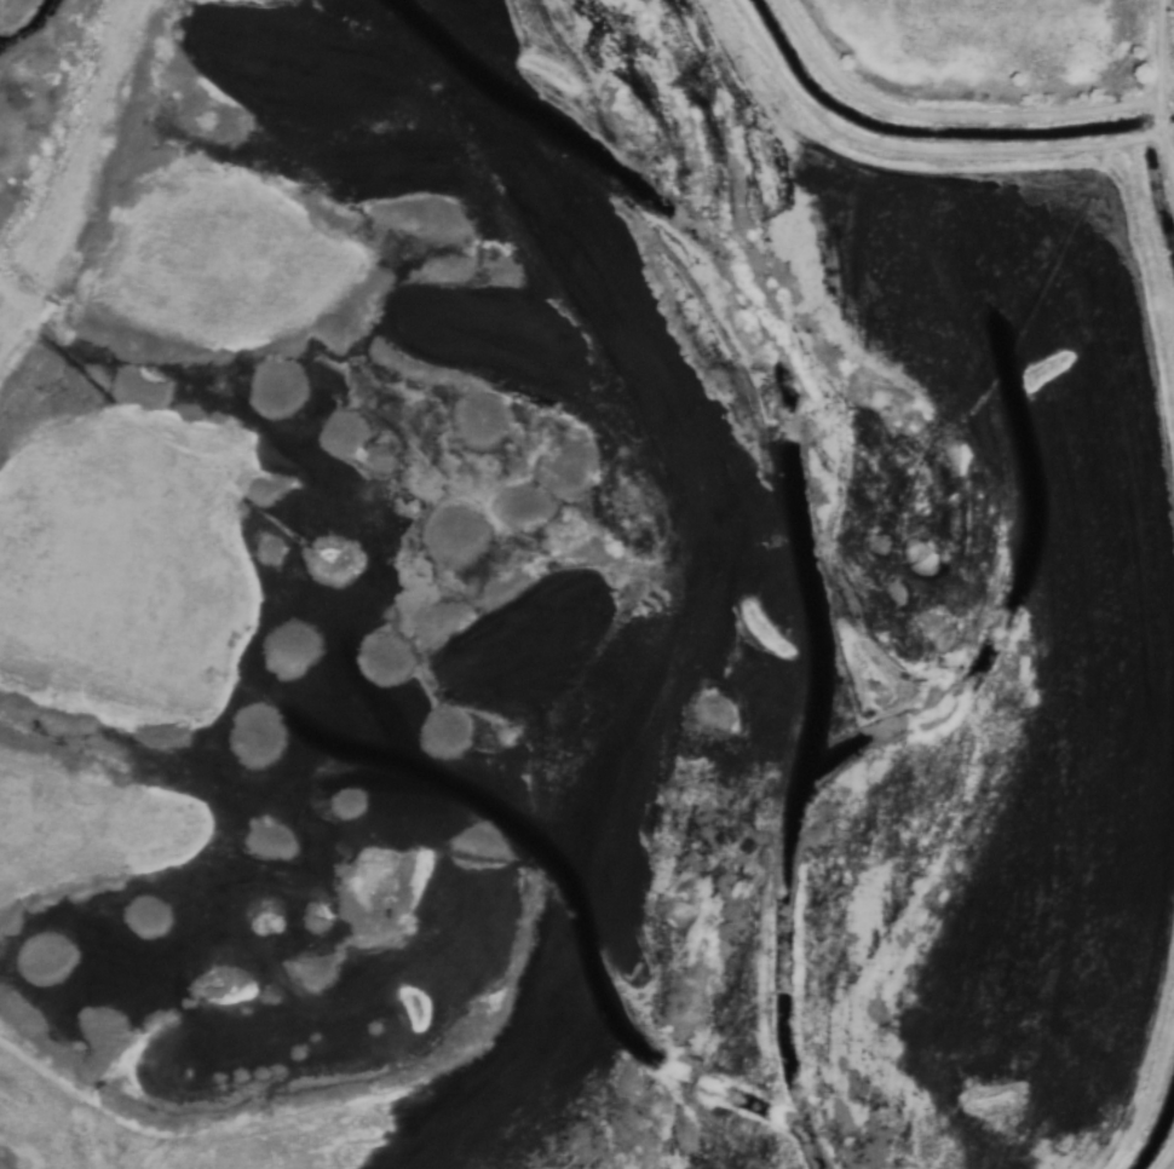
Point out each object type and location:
road: (1167, 1159)

